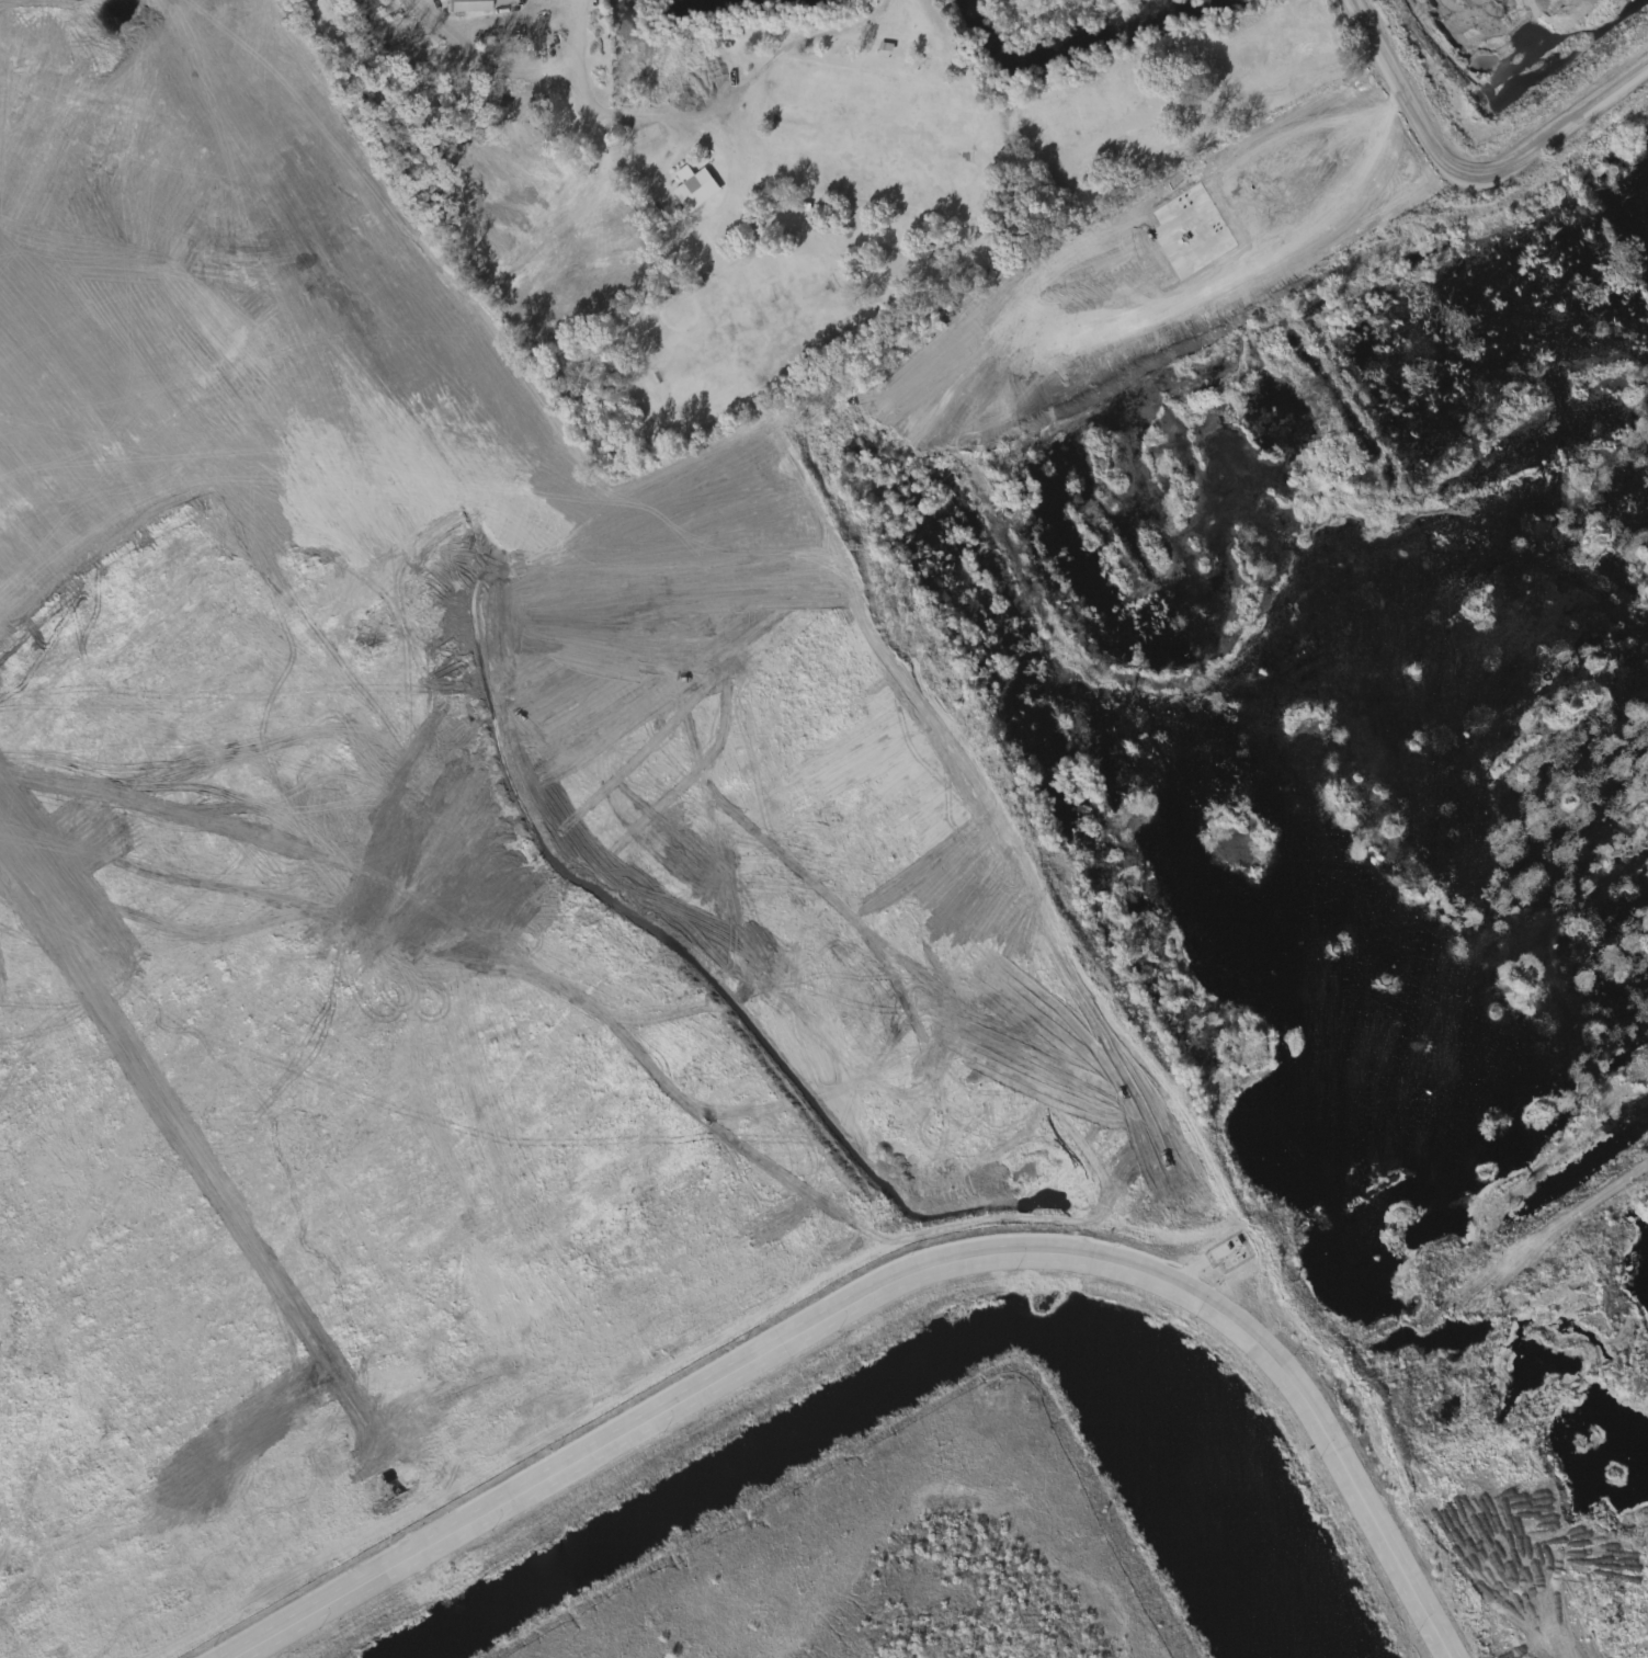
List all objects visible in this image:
building: (471, 5)
road: (519, 15)
road: (1282, 70)
road: (1502, 81)
road: (599, 111)
road: (1463, 182)
building: (696, 184)
road: (1406, 522)
road: (891, 1280)

